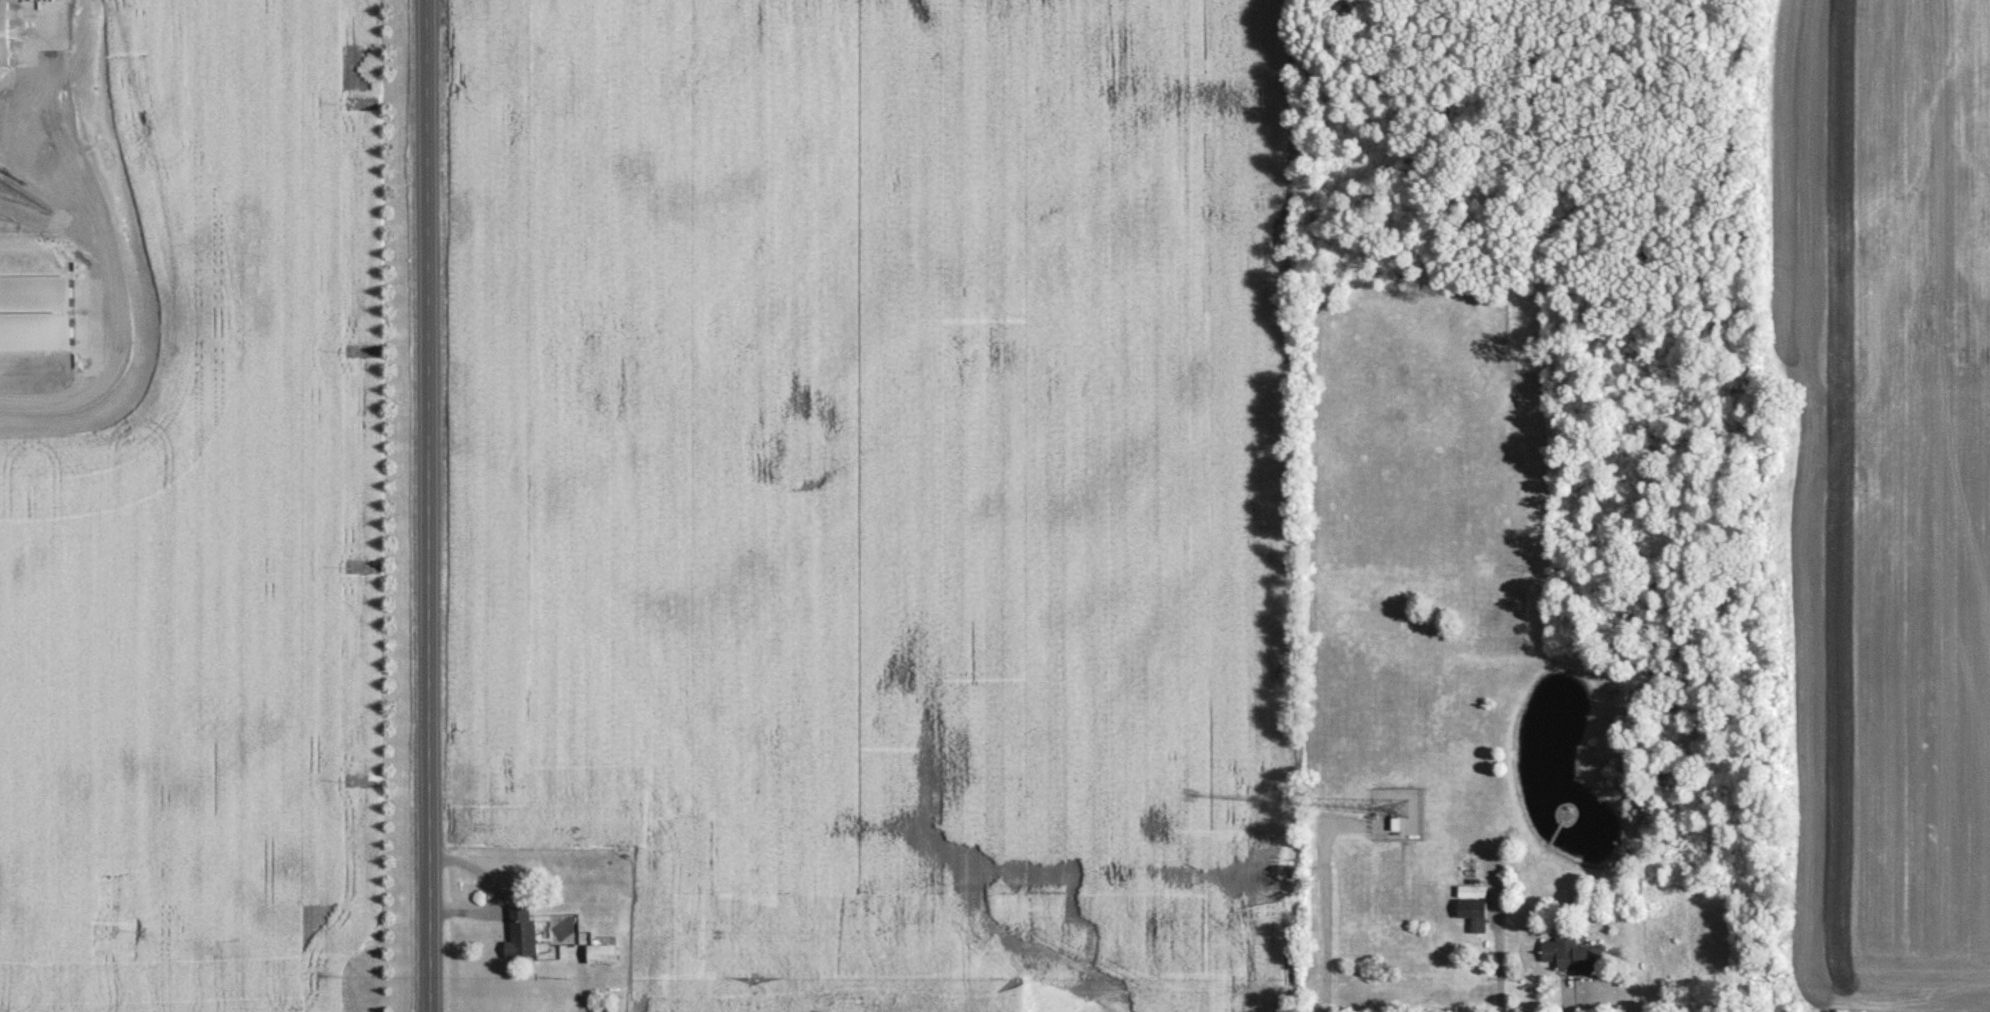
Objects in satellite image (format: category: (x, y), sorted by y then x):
building: (4, 38)
road: (112, 285)
building: (35, 316)
road: (430, 506)
building: (1474, 917)
building: (522, 936)
building: (602, 957)
building: (1574, 959)

